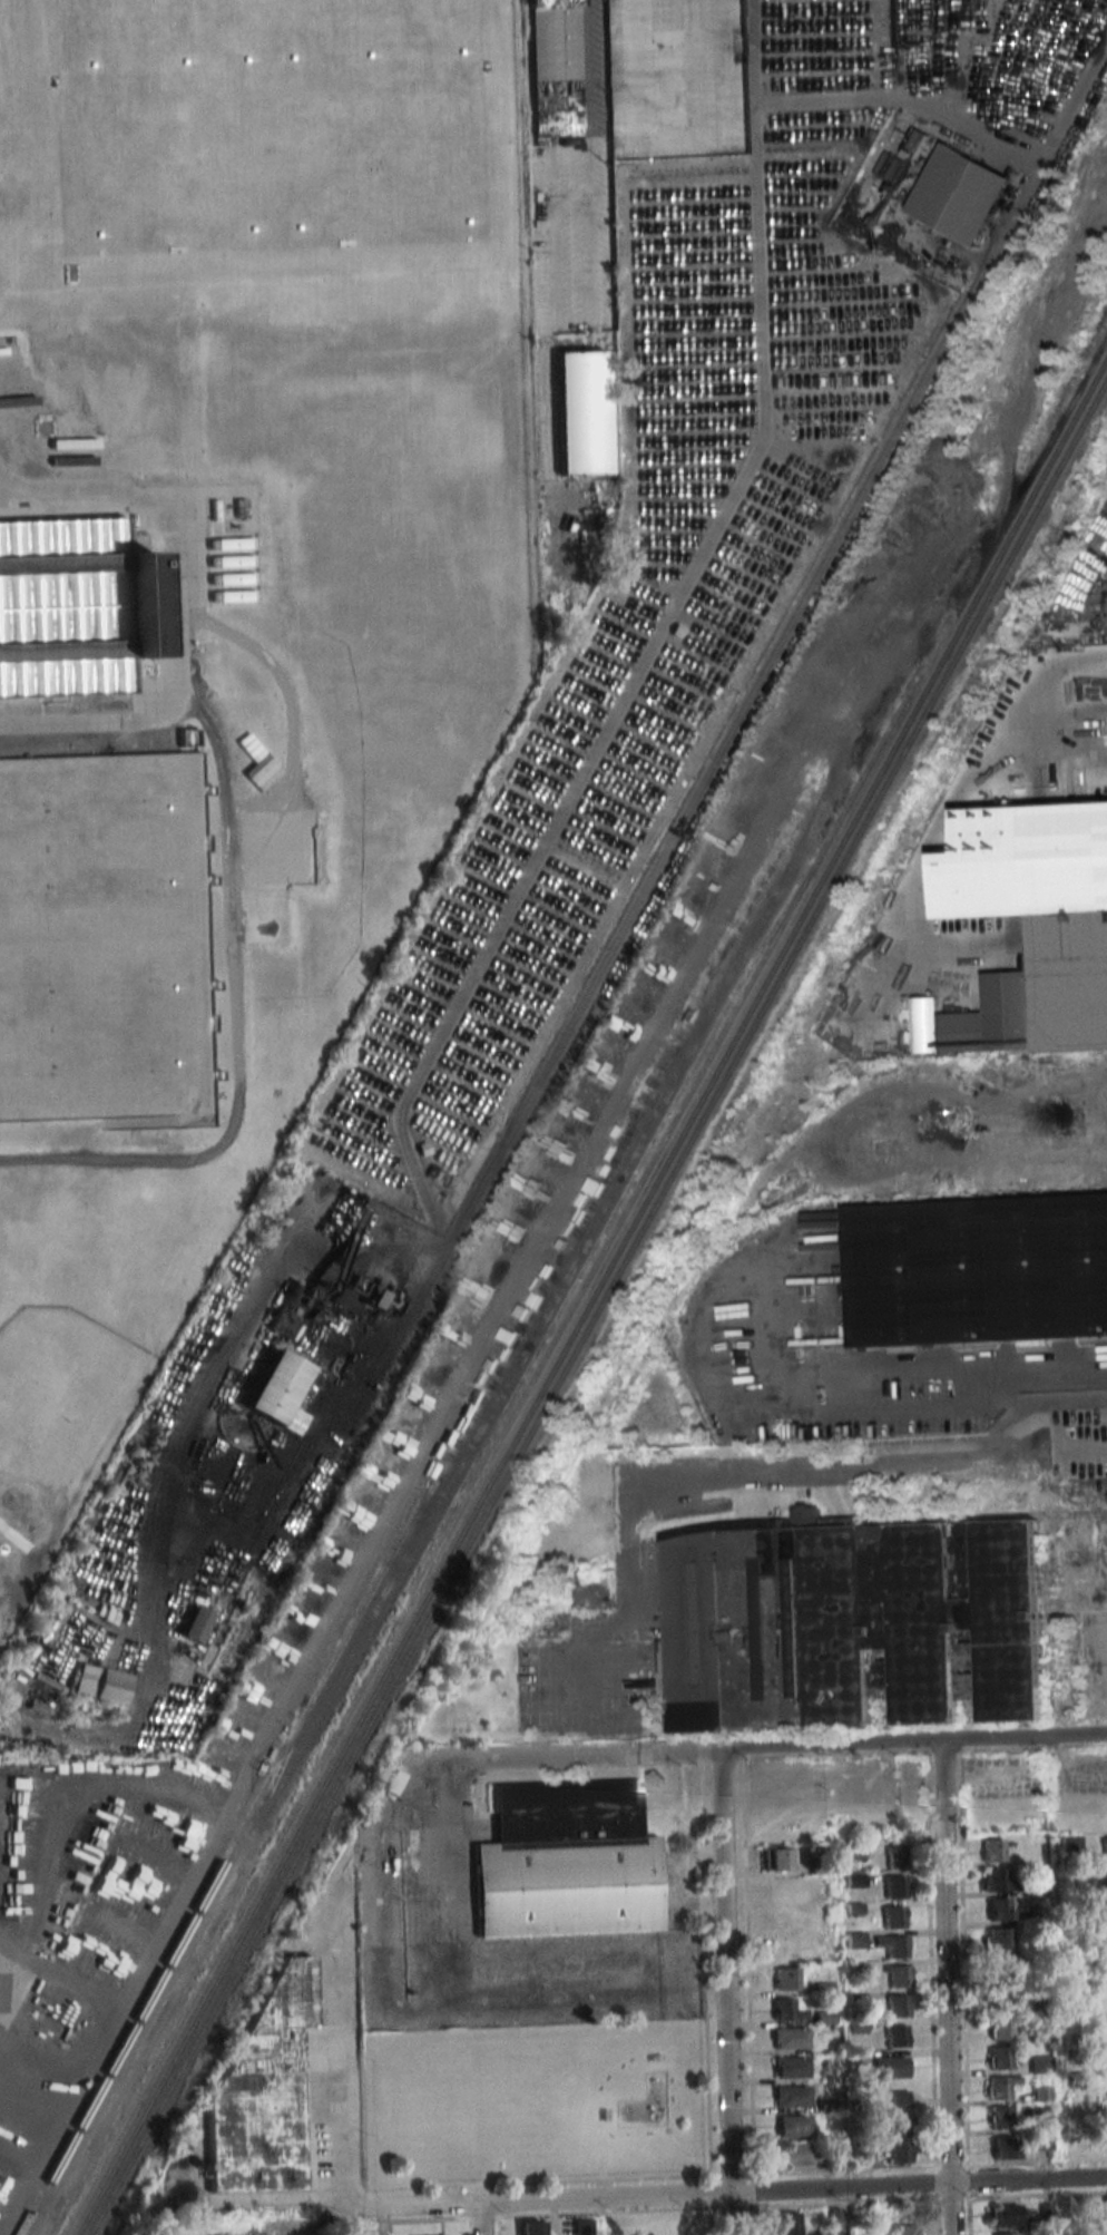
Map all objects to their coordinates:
road: (725, 18)
road: (662, 36)
building: (555, 70)
building: (273, 118)
storage tank: (273, 118)
building: (918, 144)
road: (585, 162)
building: (899, 170)
building: (961, 194)
road: (555, 238)
building: (581, 412)
building: (236, 508)
building: (208, 510)
building: (224, 544)
building: (225, 562)
building: (225, 579)
railway: (996, 585)
building: (226, 596)
building: (69, 607)
road: (169, 619)
building: (184, 738)
road: (1051, 748)
road: (972, 774)
building: (733, 819)
building: (1041, 899)
building: (100, 937)
storage tank: (100, 937)
road: (227, 1031)
building: (10, 1197)
building: (29, 1202)
building: (978, 1270)
railway: (591, 1296)
building: (288, 1314)
building: (1093, 1356)
road: (1057, 1378)
building: (274, 1387)
road: (832, 1394)
road: (1016, 1396)
railway: (490, 1456)
road: (757, 1468)
railway: (487, 1511)
building: (595, 1591)
building: (872, 1619)
building: (196, 1624)
building: (100, 1683)
road: (913, 1739)
road: (567, 1757)
building: (395, 1782)
road: (374, 1833)
building: (1105, 1848)
building: (992, 1851)
building: (895, 1857)
building: (778, 1860)
building: (568, 1863)
railway: (221, 1865)
building: (1104, 1875)
building: (996, 1880)
building: (1037, 1885)
building: (895, 1887)
building: (1105, 1909)
building: (999, 1910)
building: (893, 1916)
building: (784, 1919)
building: (1105, 1936)
building: (855, 1940)
building: (997, 1940)
building: (895, 1945)
building: (1106, 1968)
building: (1000, 1969)
building: (899, 1975)
building: (784, 1979)
road: (947, 1987)
road: (725, 1990)
building: (1105, 1998)
building: (999, 1999)
building: (899, 2004)
building: (787, 2010)
building: (1105, 2027)
building: (1001, 2028)
building: (898, 2036)
building: (790, 2038)
building: (1106, 2057)
building: (999, 2058)
road: (331, 2059)
building: (655, 2059)
building: (1039, 2065)
building: (792, 2067)
building: (891, 2067)
road: (685, 2079)
building: (1000, 2087)
building: (263, 2089)
building: (791, 2096)
park: (535, 2101)
building: (901, 2112)
building: (606, 2116)
building: (1001, 2118)
building: (794, 2126)
building: (1106, 2145)
building: (1005, 2147)
building: (899, 2153)
road: (687, 2154)
building: (797, 2155)
building: (864, 2158)
road: (735, 2193)
building: (1106, 2207)
building: (1008, 2215)
road: (323, 2218)
road: (480, 2219)
building: (786, 2223)
building: (581, 2227)
building: (532, 2228)
building: (907, 2229)
building: (1006, 2234)

